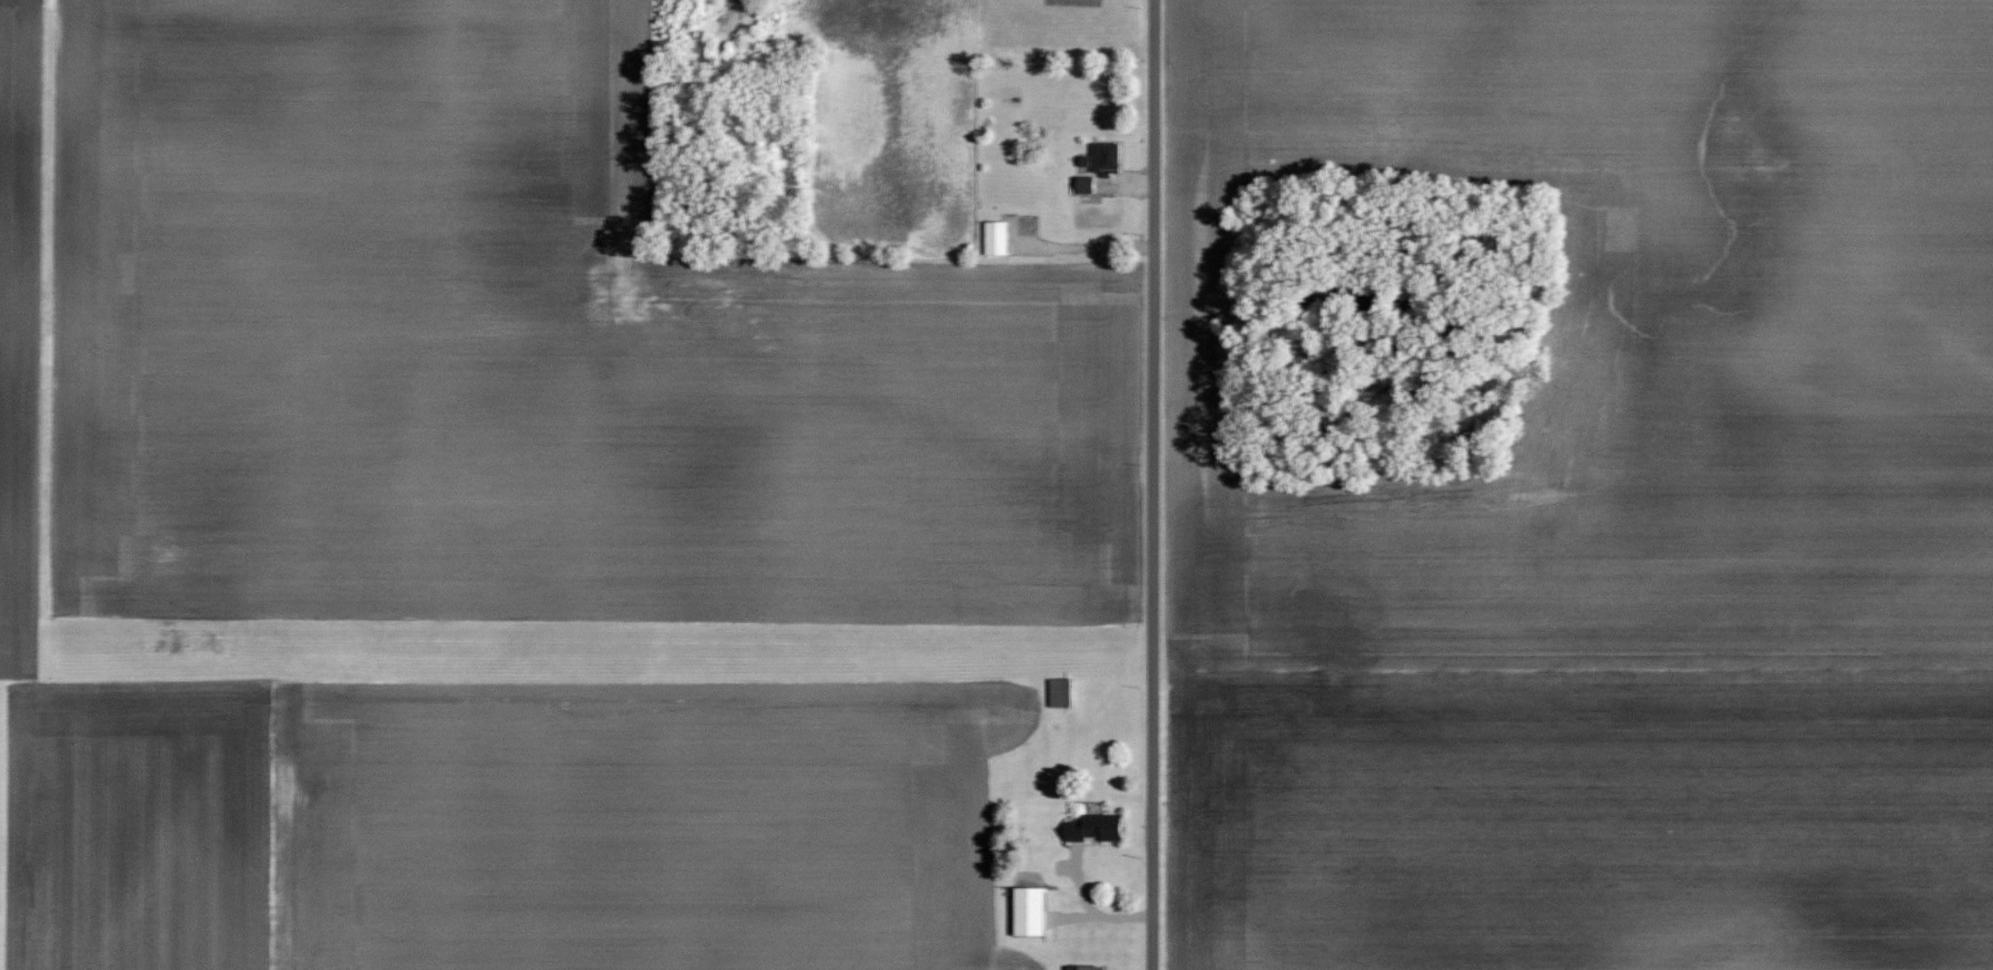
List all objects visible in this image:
building: (1102, 157)
building: (1084, 184)
building: (995, 237)
road: (1155, 484)
airport runway: (587, 650)
airport: (605, 653)
airport taxiway: (1095, 680)
airport hangar: (1063, 692)
building: (1063, 692)
building: (1094, 827)
building: (1028, 911)
building: (1084, 968)

